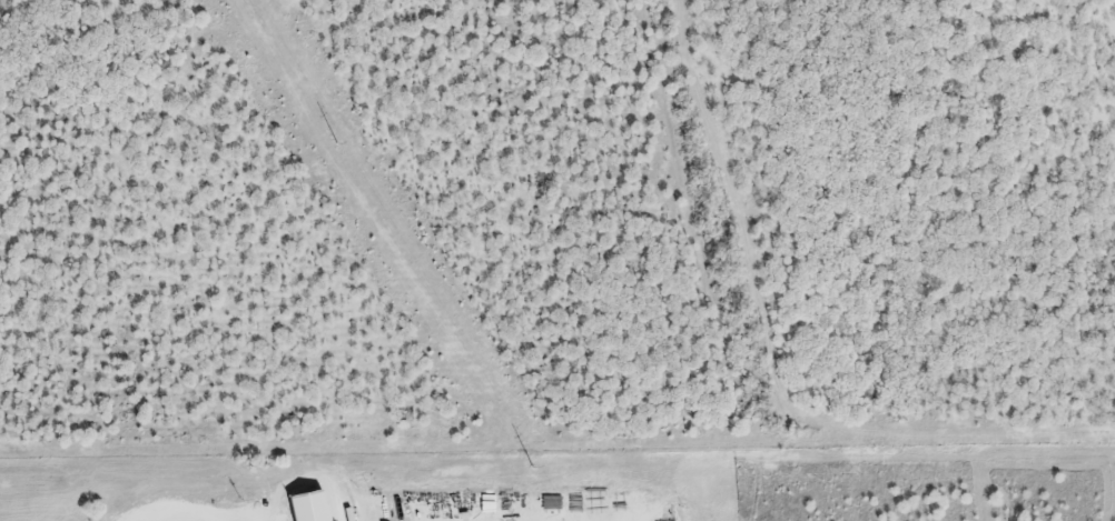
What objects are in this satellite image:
power tower: (333, 137)
power tower: (530, 460)
building: (224, 483)
building: (683, 504)
building: (305, 509)

